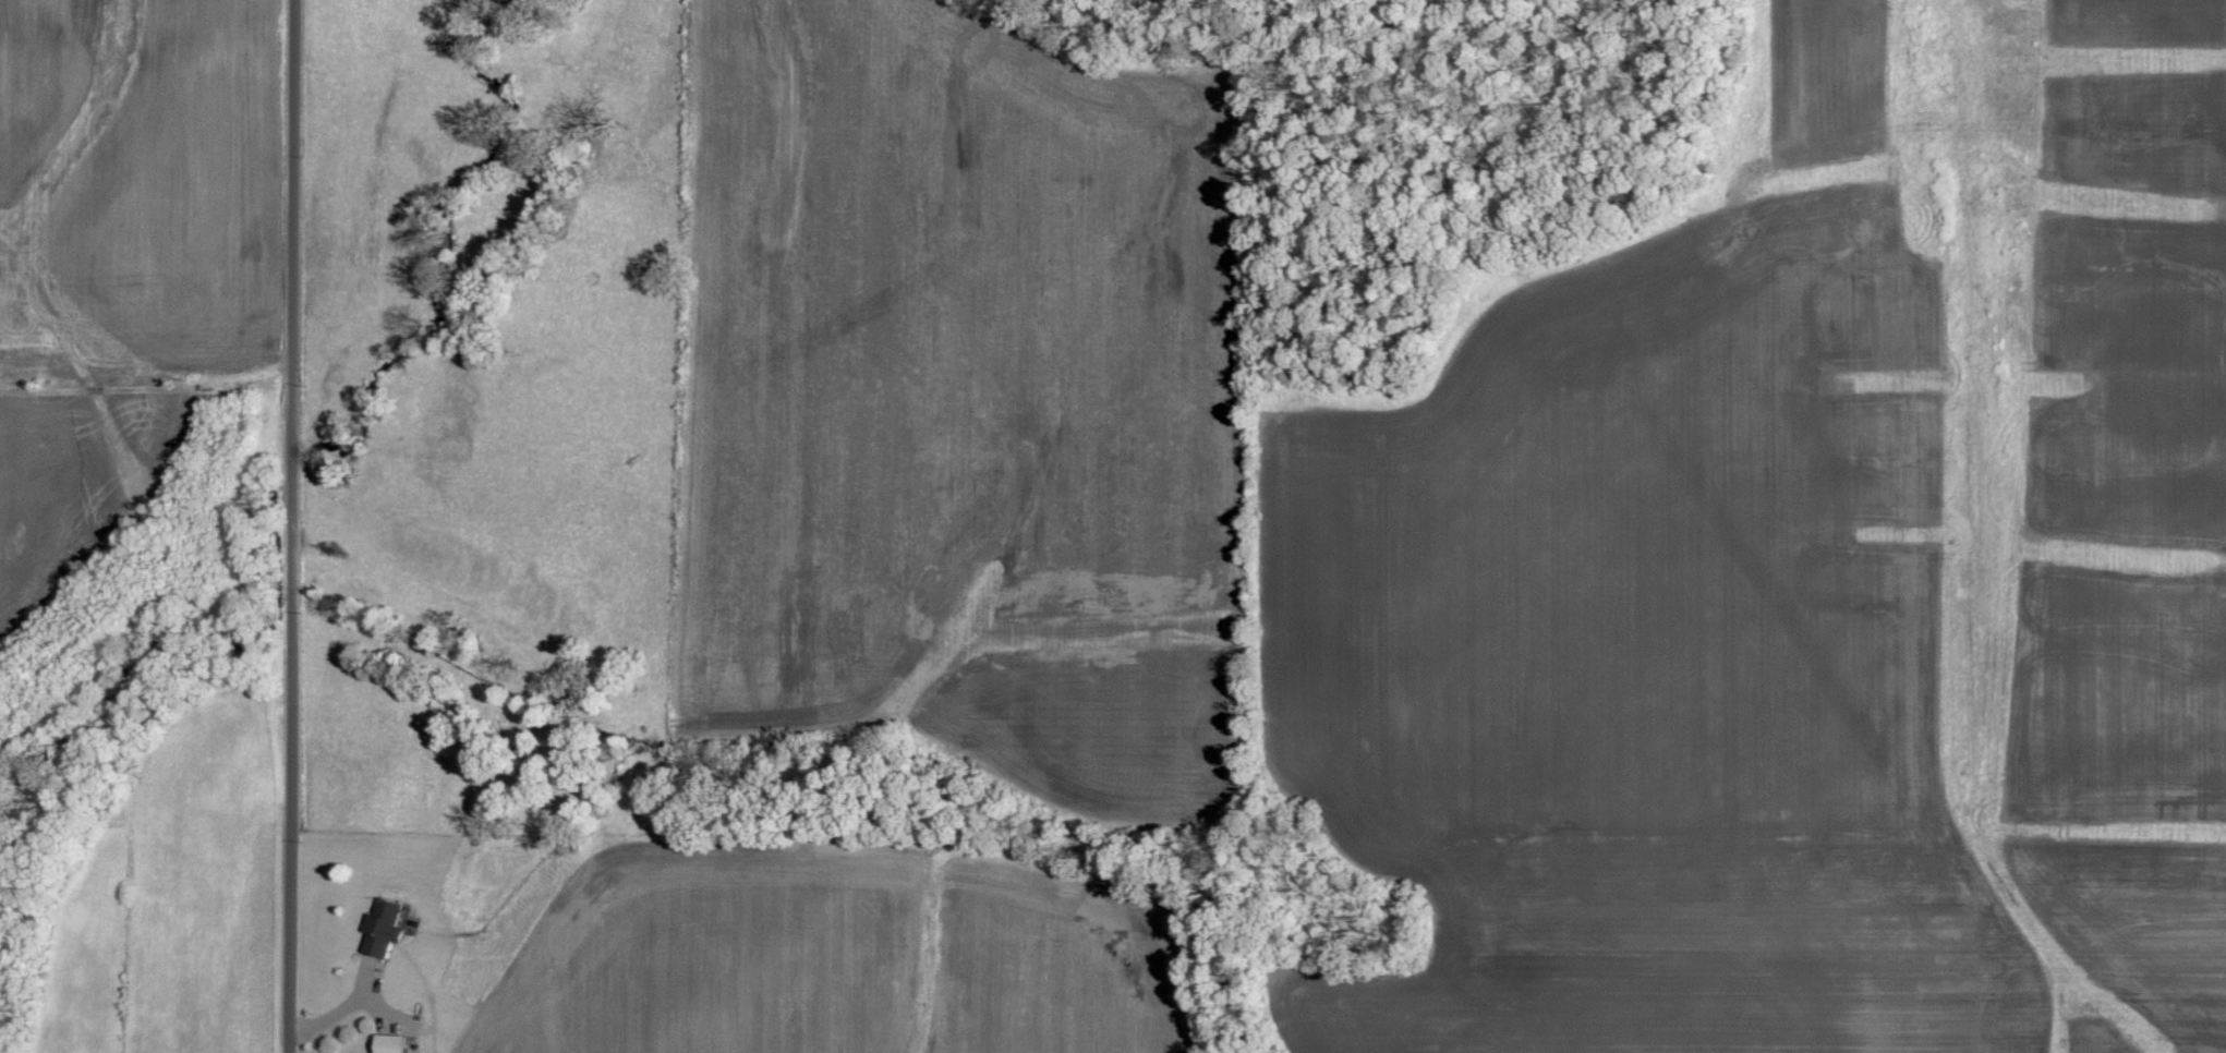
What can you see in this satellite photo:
road: (293, 526)
building: (390, 929)
building: (397, 1043)

